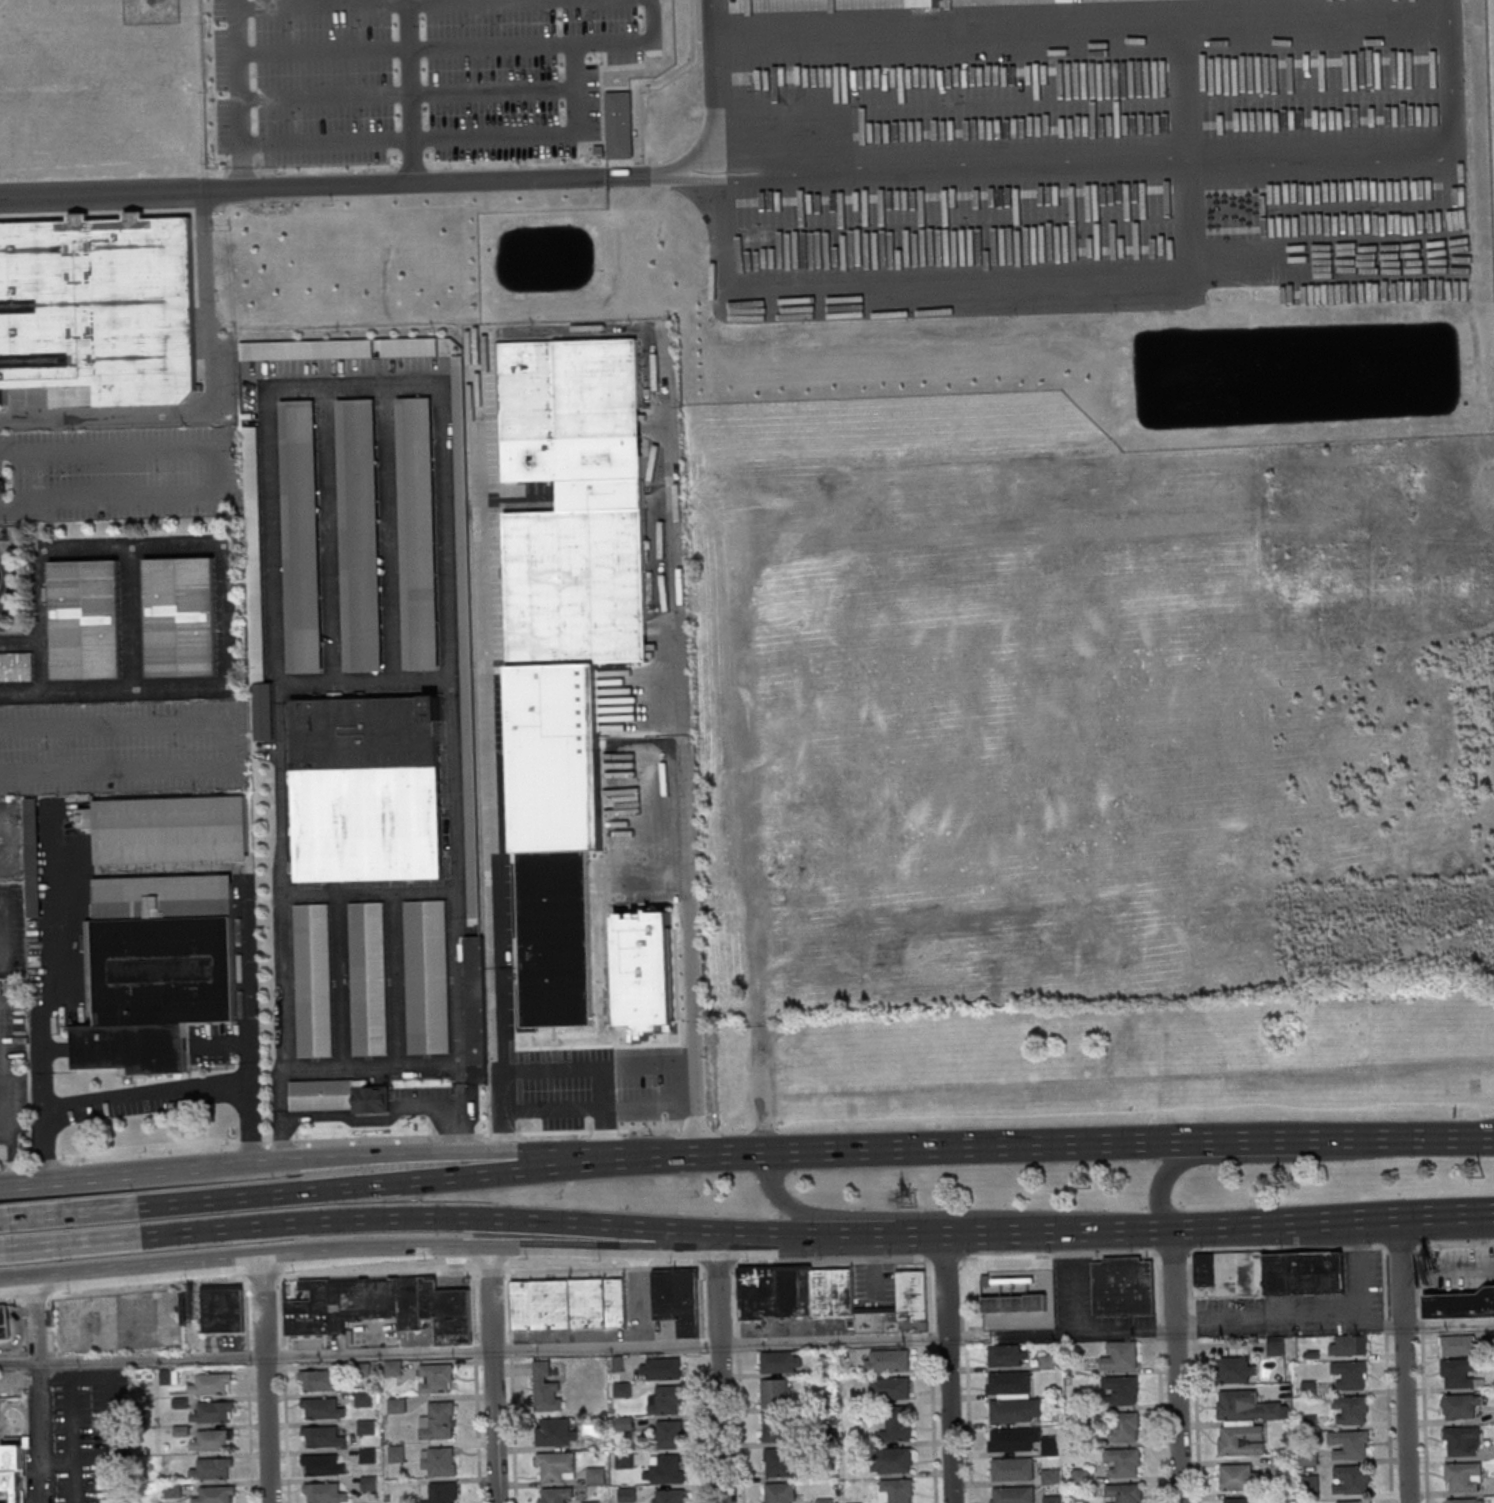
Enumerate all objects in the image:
road: (373, 3)
building: (923, 3)
road: (650, 22)
road: (1080, 27)
road: (444, 49)
parking lot: (415, 77)
road: (410, 93)
road: (237, 96)
road: (407, 96)
road: (453, 138)
road: (1188, 154)
road: (1084, 167)
road: (660, 177)
road: (404, 187)
road: (1082, 290)
road: (211, 306)
building: (99, 307)
road: (569, 316)
building: (409, 346)
building: (306, 350)
road: (355, 384)
road: (219, 474)
building: (2, 485)
building: (573, 502)
building: (418, 533)
road: (391, 534)
building: (300, 536)
road: (330, 536)
building: (359, 536)
road: (270, 539)
road: (201, 546)
building: (254, 554)
road: (2, 575)
road: (132, 616)
building: (180, 616)
road: (40, 619)
building: (85, 619)
building: (466, 636)
road: (20, 643)
building: (15, 666)
road: (367, 685)
road: (114, 686)
building: (263, 710)
road: (452, 723)
road: (229, 746)
building: (366, 787)
road: (281, 791)
building: (171, 829)
road: (12, 839)
building: (32, 856)
road: (241, 880)
road: (368, 892)
road: (4, 928)
building: (555, 938)
building: (155, 969)
building: (646, 972)
building: (425, 976)
building: (367, 978)
road: (395, 979)
building: (311, 980)
road: (339, 980)
road: (280, 982)
road: (57, 995)
building: (476, 1000)
road: (375, 1066)
road: (588, 1066)
road: (145, 1094)
building: (338, 1095)
road: (598, 1111)
road: (363, 1118)
road: (250, 1121)
road: (1446, 1137)
road: (1301, 1139)
road: (44, 1145)
road: (983, 1146)
road: (444, 1151)
road: (728, 1153)
road: (9, 1154)
road: (1250, 1158)
power tower: (1483, 1175)
road: (97, 1176)
power tower: (1282, 1180)
road: (348, 1186)
power tower: (1089, 1187)
power tower: (906, 1199)
road: (946, 1213)
road: (1, 1219)
road: (360, 1219)
road: (1105, 1230)
road: (488, 1246)
road: (2, 1250)
road: (770, 1263)
road: (129, 1270)
road: (1399, 1270)
building: (1270, 1273)
road: (1172, 1279)
building: (1123, 1285)
building: (797, 1291)
road: (717, 1292)
building: (912, 1294)
road: (35, 1298)
building: (678, 1298)
road: (11, 1301)
building: (569, 1302)
building: (1015, 1303)
building: (1460, 1304)
building: (379, 1306)
building: (223, 1308)
building: (3, 1323)
road: (747, 1343)
building: (1458, 1344)
building: (1276, 1345)
building: (1349, 1345)
building: (1009, 1356)
building: (1121, 1357)
building: (782, 1361)
building: (888, 1361)
building: (1048, 1362)
road: (948, 1368)
building: (661, 1369)
building: (1235, 1369)
building: (1459, 1372)
road: (491, 1374)
building: (1350, 1374)
building: (167, 1375)
road: (91, 1377)
building: (435, 1378)
road: (263, 1381)
building: (320, 1381)
building: (1009, 1383)
building: (211, 1384)
building: (546, 1387)
building: (891, 1389)
road: (37, 1391)
building: (1120, 1391)
building: (777, 1393)
building: (364, 1399)
building: (666, 1401)
building: (1460, 1405)
building: (322, 1409)
building: (1351, 1409)
building: (1016, 1410)
building: (213, 1413)
road: (1406, 1413)
road: (1176, 1416)
building: (438, 1421)
building: (1245, 1421)
road: (721, 1423)
building: (897, 1425)
building: (367, 1427)
building: (1125, 1427)
building: (777, 1428)
building: (556, 1432)
building: (670, 1435)
building: (322, 1437)
building: (1462, 1440)
building: (211, 1441)
building: (1023, 1441)
building: (1350, 1444)
building: (396, 1453)
building: (1308, 1457)
building: (439, 1461)
building: (893, 1461)
building: (780, 1462)
building: (1124, 1463)
building: (320, 1465)
building: (556, 1466)
building: (1013, 1469)
building: (12, 1470)
building: (211, 1470)
building: (667, 1470)
building: (1238, 1476)
building: (1463, 1477)
building: (1052, 1478)
building: (1352, 1479)
road: (75, 1481)
building: (1310, 1486)
building: (897, 1491)
building: (441, 1492)
building: (324, 1493)
building: (780, 1493)
building: (1124, 1493)
building: (215, 1495)
building: (555, 1495)
building: (629, 1495)
building: (1013, 1495)
building: (669, 1496)
building: (1239, 1499)
building: (1052, 1500)
building: (1463, 1500)
building: (1354, 1502)

